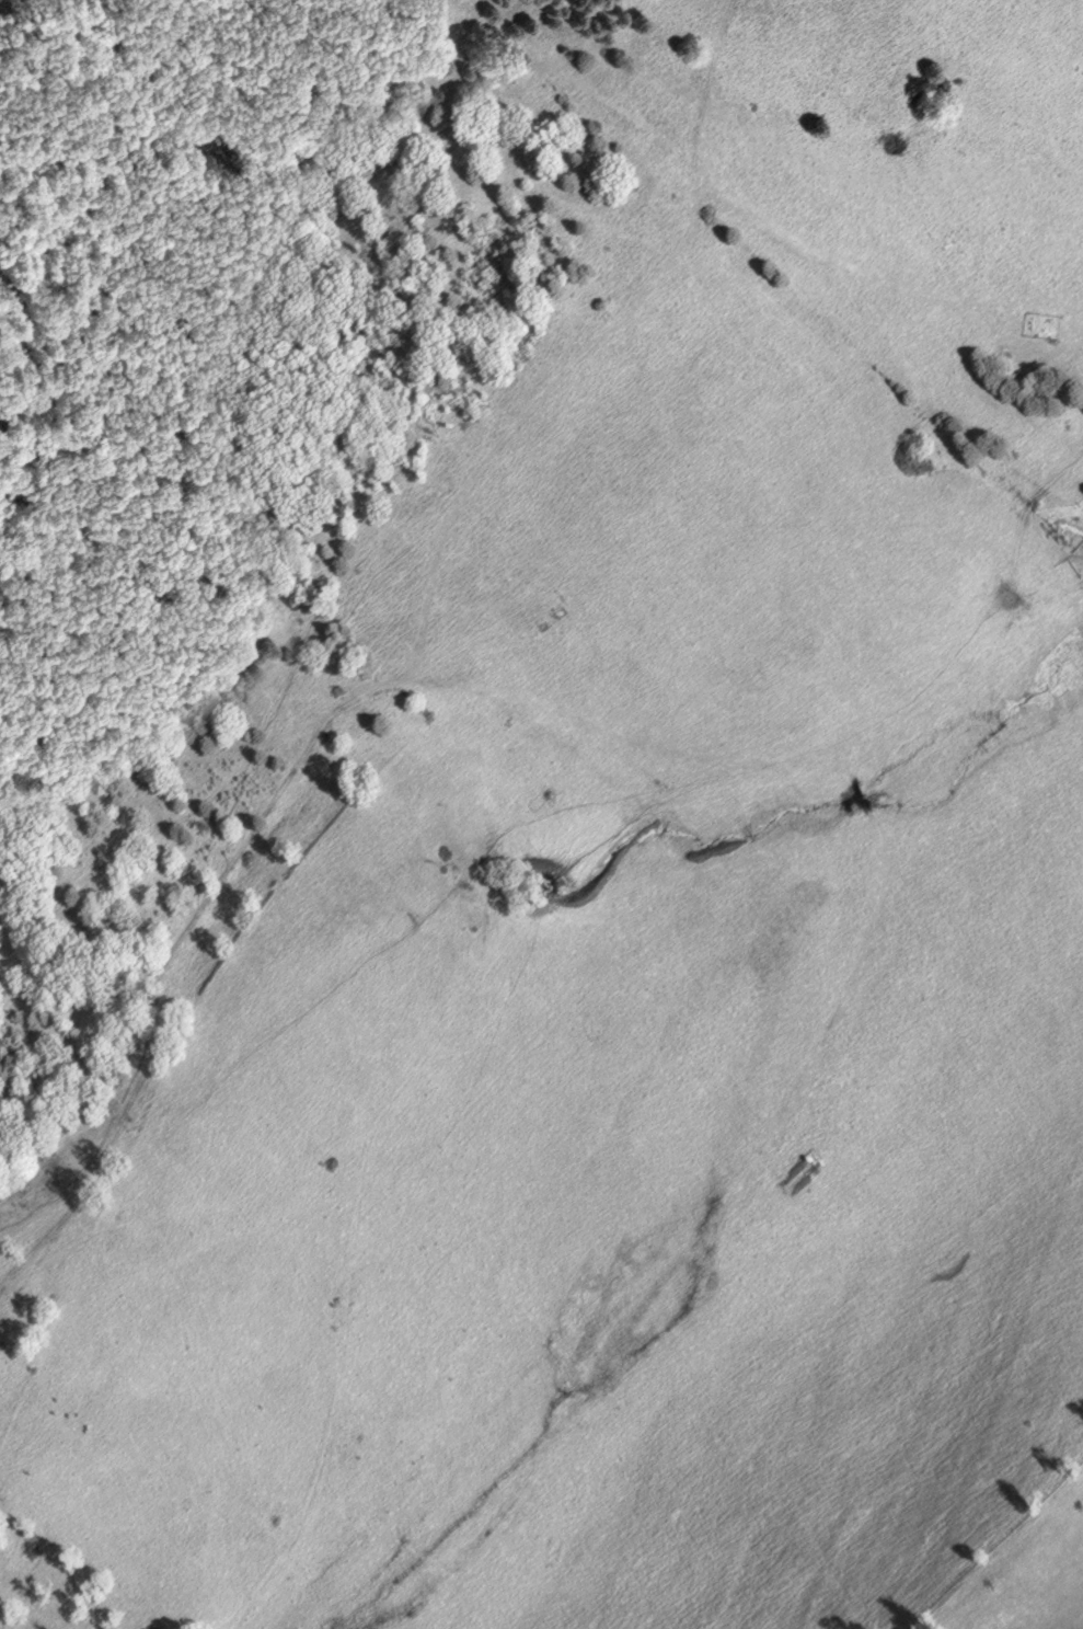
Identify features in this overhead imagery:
road: (791, 249)
road: (329, 715)

